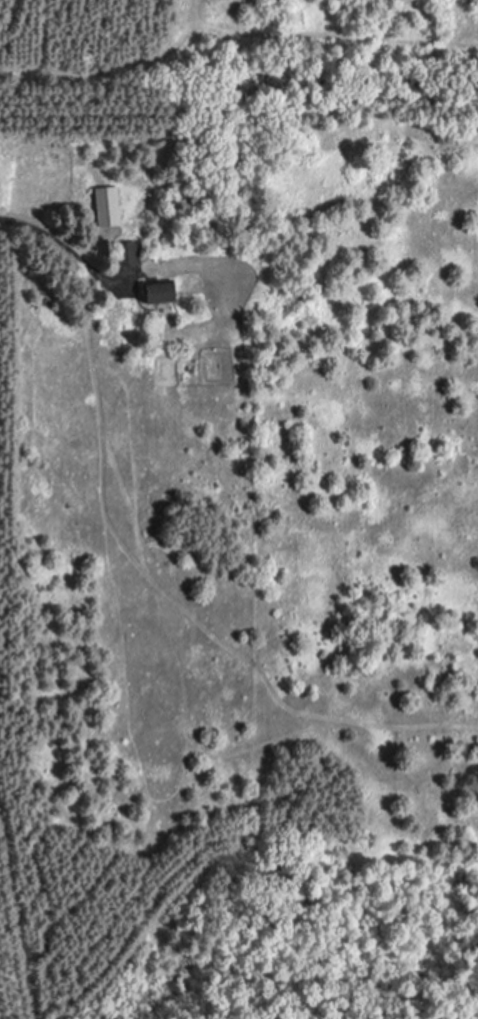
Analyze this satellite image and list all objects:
building: (104, 206)
road: (63, 244)
building: (153, 293)

